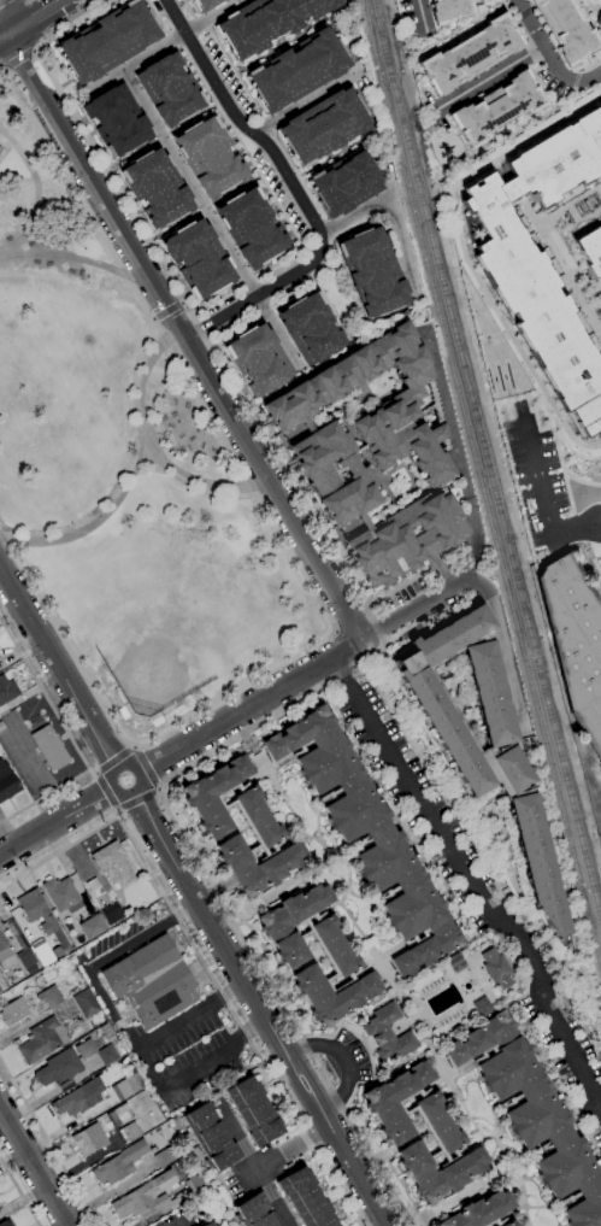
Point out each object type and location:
road: (1, 0)
building: (224, 0)
road: (600, 1)
building: (204, 4)
road: (595, 8)
building: (449, 11)
road: (422, 17)
road: (33, 19)
building: (266, 23)
building: (565, 28)
building: (107, 41)
road: (160, 46)
road: (34, 51)
building: (470, 53)
road: (550, 53)
road: (18, 59)
road: (4, 69)
building: (297, 69)
road: (1, 71)
road: (499, 74)
building: (170, 89)
road: (307, 102)
building: (496, 108)
building: (117, 121)
building: (324, 125)
building: (210, 156)
building: (344, 182)
road: (35, 186)
road: (297, 187)
building: (153, 190)
road: (395, 215)
road: (211, 219)
road: (8, 225)
building: (253, 228)
building: (591, 252)
road: (61, 254)
building: (196, 259)
building: (373, 271)
road: (182, 301)
building: (540, 306)
road: (167, 310)
road: (153, 317)
building: (311, 328)
road: (184, 332)
building: (259, 359)
road: (230, 379)
street lamp: (515, 397)
building: (431, 404)
road: (555, 440)
road: (153, 442)
street lamp: (559, 442)
street lamp: (128, 444)
building: (444, 444)
building: (373, 454)
building: (357, 457)
road: (458, 457)
railway: (487, 458)
park: (600, 459)
park: (124, 474)
railway: (481, 482)
building: (441, 489)
road: (567, 491)
road: (543, 500)
road: (100, 518)
road: (600, 522)
street lamp: (70, 523)
road: (600, 523)
road: (295, 557)
road: (596, 565)
road: (435, 597)
park: (177, 603)
building: (575, 641)
road: (346, 647)
building: (0, 657)
road: (59, 667)
building: (6, 693)
road: (252, 706)
building: (1, 726)
road: (71, 737)
building: (306, 745)
building: (51, 747)
road: (114, 758)
road: (145, 767)
road: (93, 769)
building: (494, 773)
building: (7, 782)
road: (159, 788)
road: (106, 790)
road: (124, 792)
building: (214, 794)
road: (137, 797)
road: (117, 811)
building: (241, 816)
building: (258, 816)
road: (58, 822)
road: (395, 822)
road: (317, 826)
road: (379, 834)
road: (503, 834)
building: (369, 837)
road: (214, 840)
building: (277, 845)
road: (353, 850)
building: (113, 863)
building: (258, 864)
flagpole: (55, 868)
road: (349, 875)
road: (470, 882)
road: (288, 890)
road: (216, 891)
building: (61, 893)
building: (37, 910)
building: (113, 914)
road: (210, 922)
building: (291, 923)
building: (93, 926)
road: (472, 932)
road: (363, 934)
building: (416, 938)
building: (335, 945)
building: (5, 952)
building: (24, 952)
building: (43, 954)
building: (323, 954)
road: (204, 963)
road: (257, 964)
building: (496, 968)
road: (291, 970)
road: (89, 975)
building: (152, 981)
building: (0, 989)
road: (232, 992)
building: (332, 993)
building: (51, 997)
building: (87, 1003)
building: (14, 1011)
road: (176, 1025)
road: (253, 1025)
building: (389, 1032)
building: (42, 1040)
road: (365, 1045)
building: (482, 1052)
building: (79, 1057)
road: (342, 1061)
road: (204, 1067)
road: (311, 1079)
road: (297, 1087)
building: (122, 1090)
building: (79, 1097)
building: (396, 1101)
building: (253, 1110)
building: (120, 1114)
building: (534, 1115)
building: (438, 1122)
road: (577, 1127)
building: (428, 1130)
building: (130, 1132)
building: (211, 1136)
road: (559, 1136)
road: (488, 1137)
building: (89, 1139)
road: (49, 1142)
road: (536, 1150)
building: (167, 1155)
road: (509, 1155)
building: (119, 1163)
road: (35, 1165)
road: (267, 1166)
road: (355, 1169)
building: (438, 1171)
road: (496, 1178)
road: (20, 1190)
building: (154, 1196)
road: (464, 1196)
building: (305, 1198)
building: (481, 1210)
building: (254, 1212)
building: (497, 1221)
building: (6, 1222)
road: (179, 1224)
building: (207, 1224)
road: (414, 1224)
building: (509, 1224)

